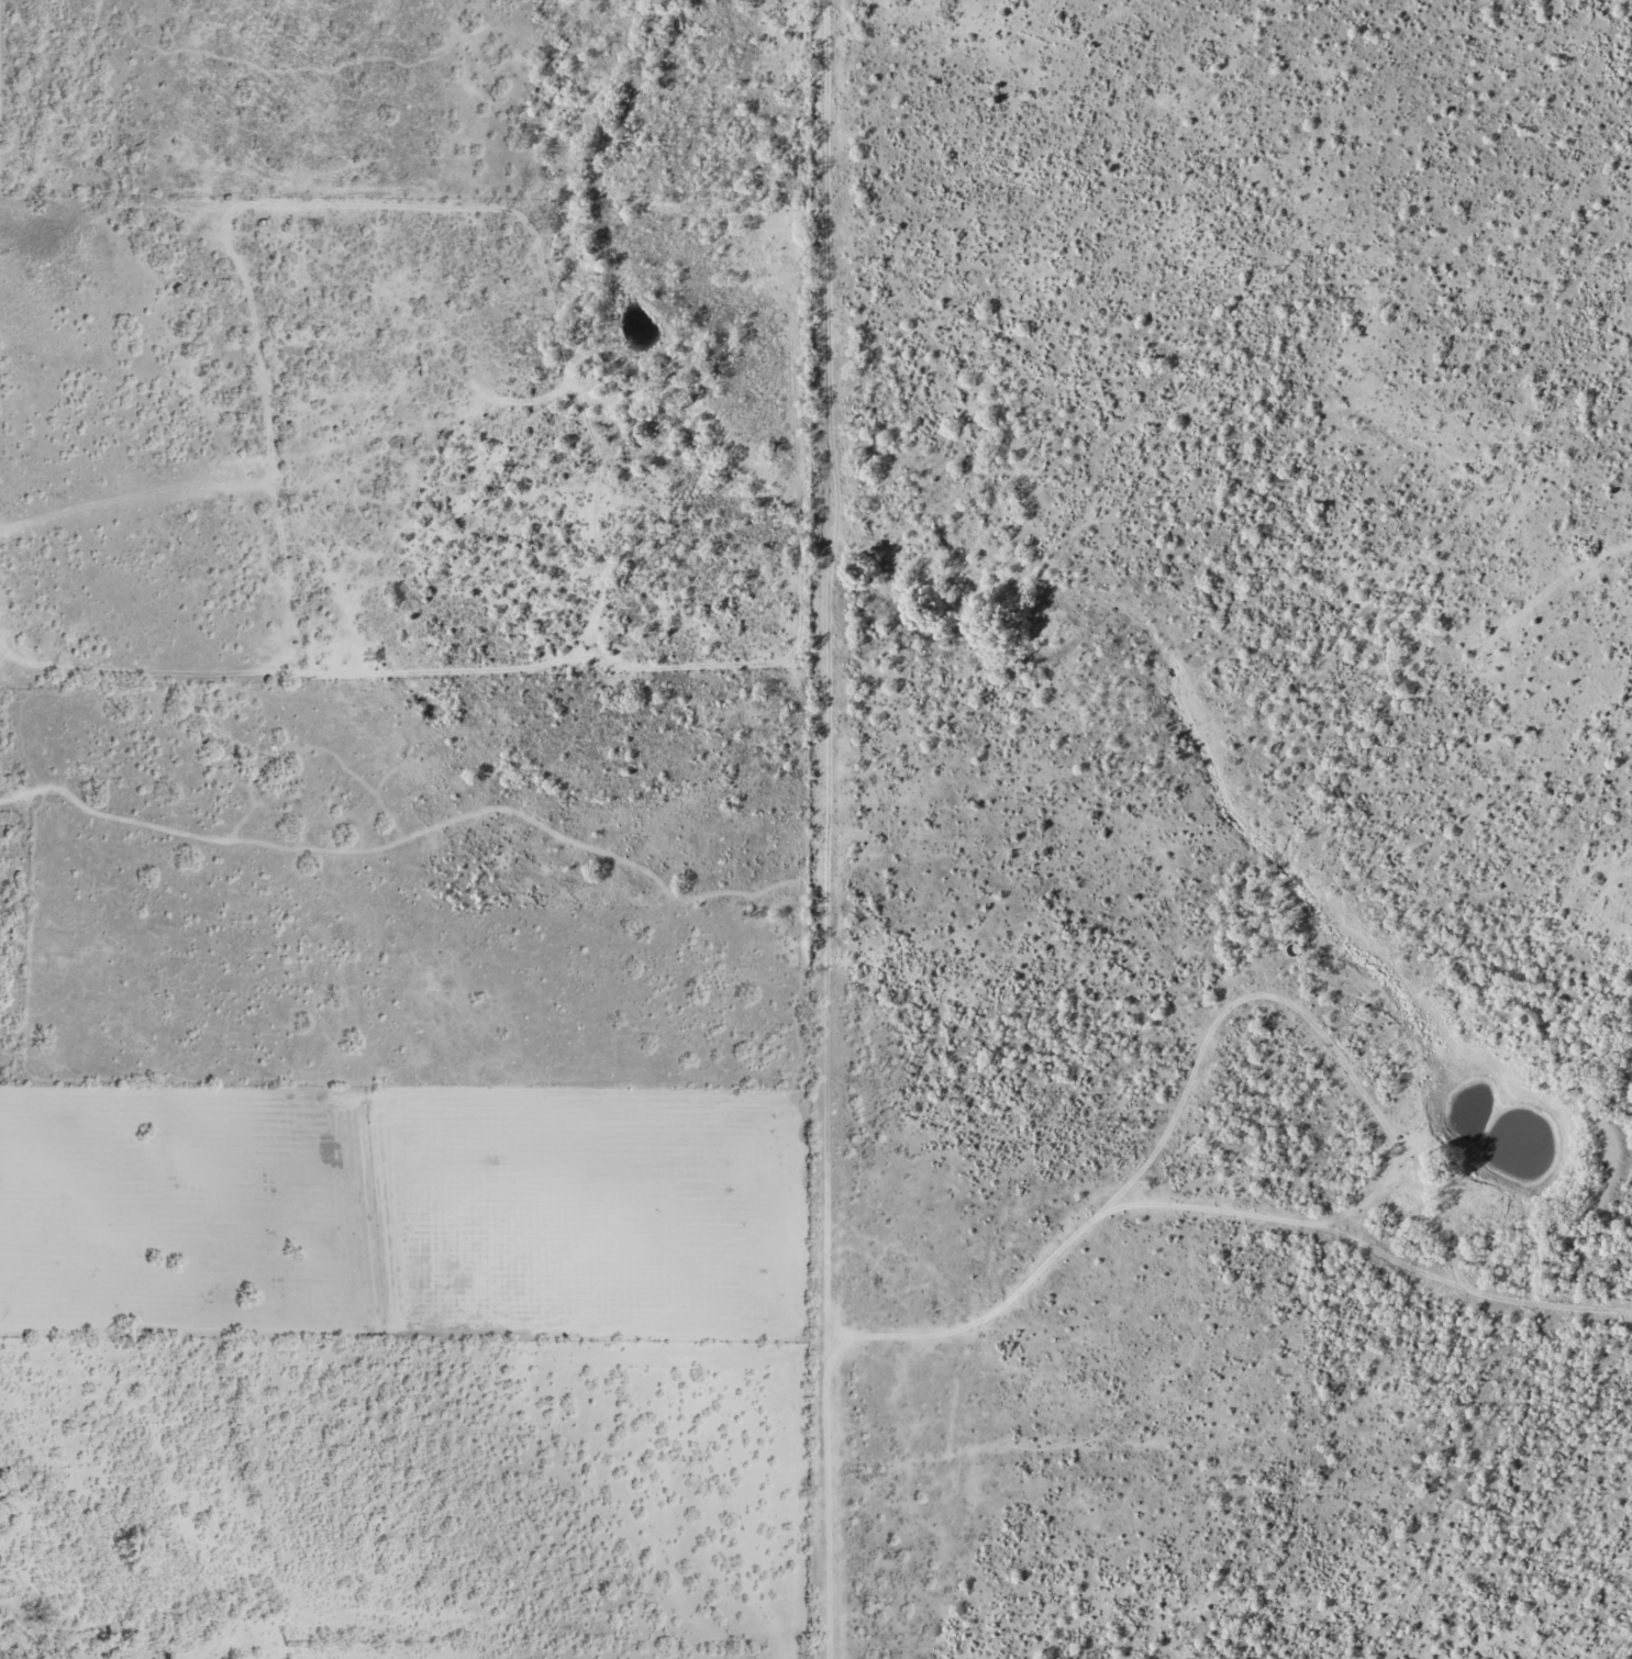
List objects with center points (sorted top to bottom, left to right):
road: (834, 828)

